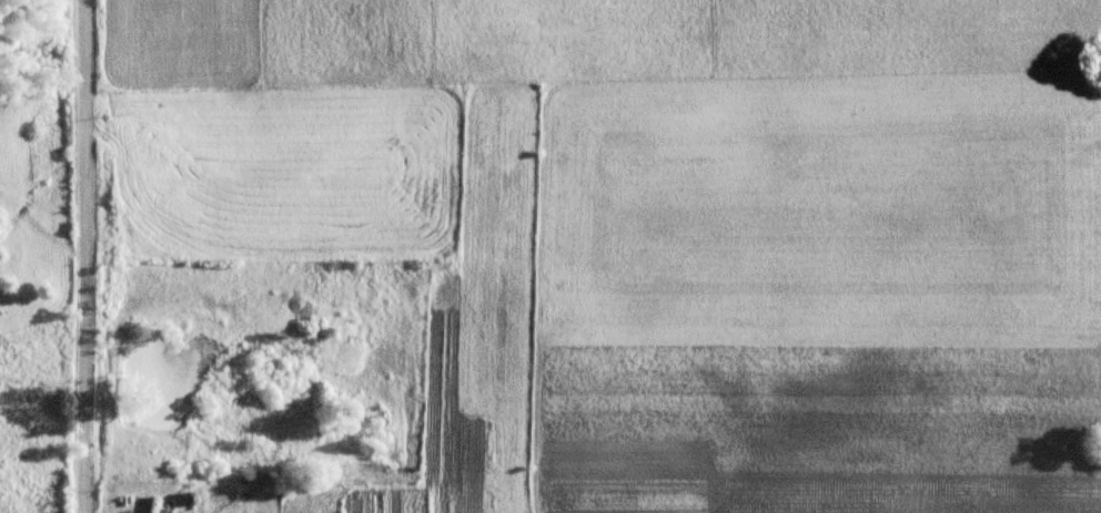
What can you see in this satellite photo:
road: (80, 256)

